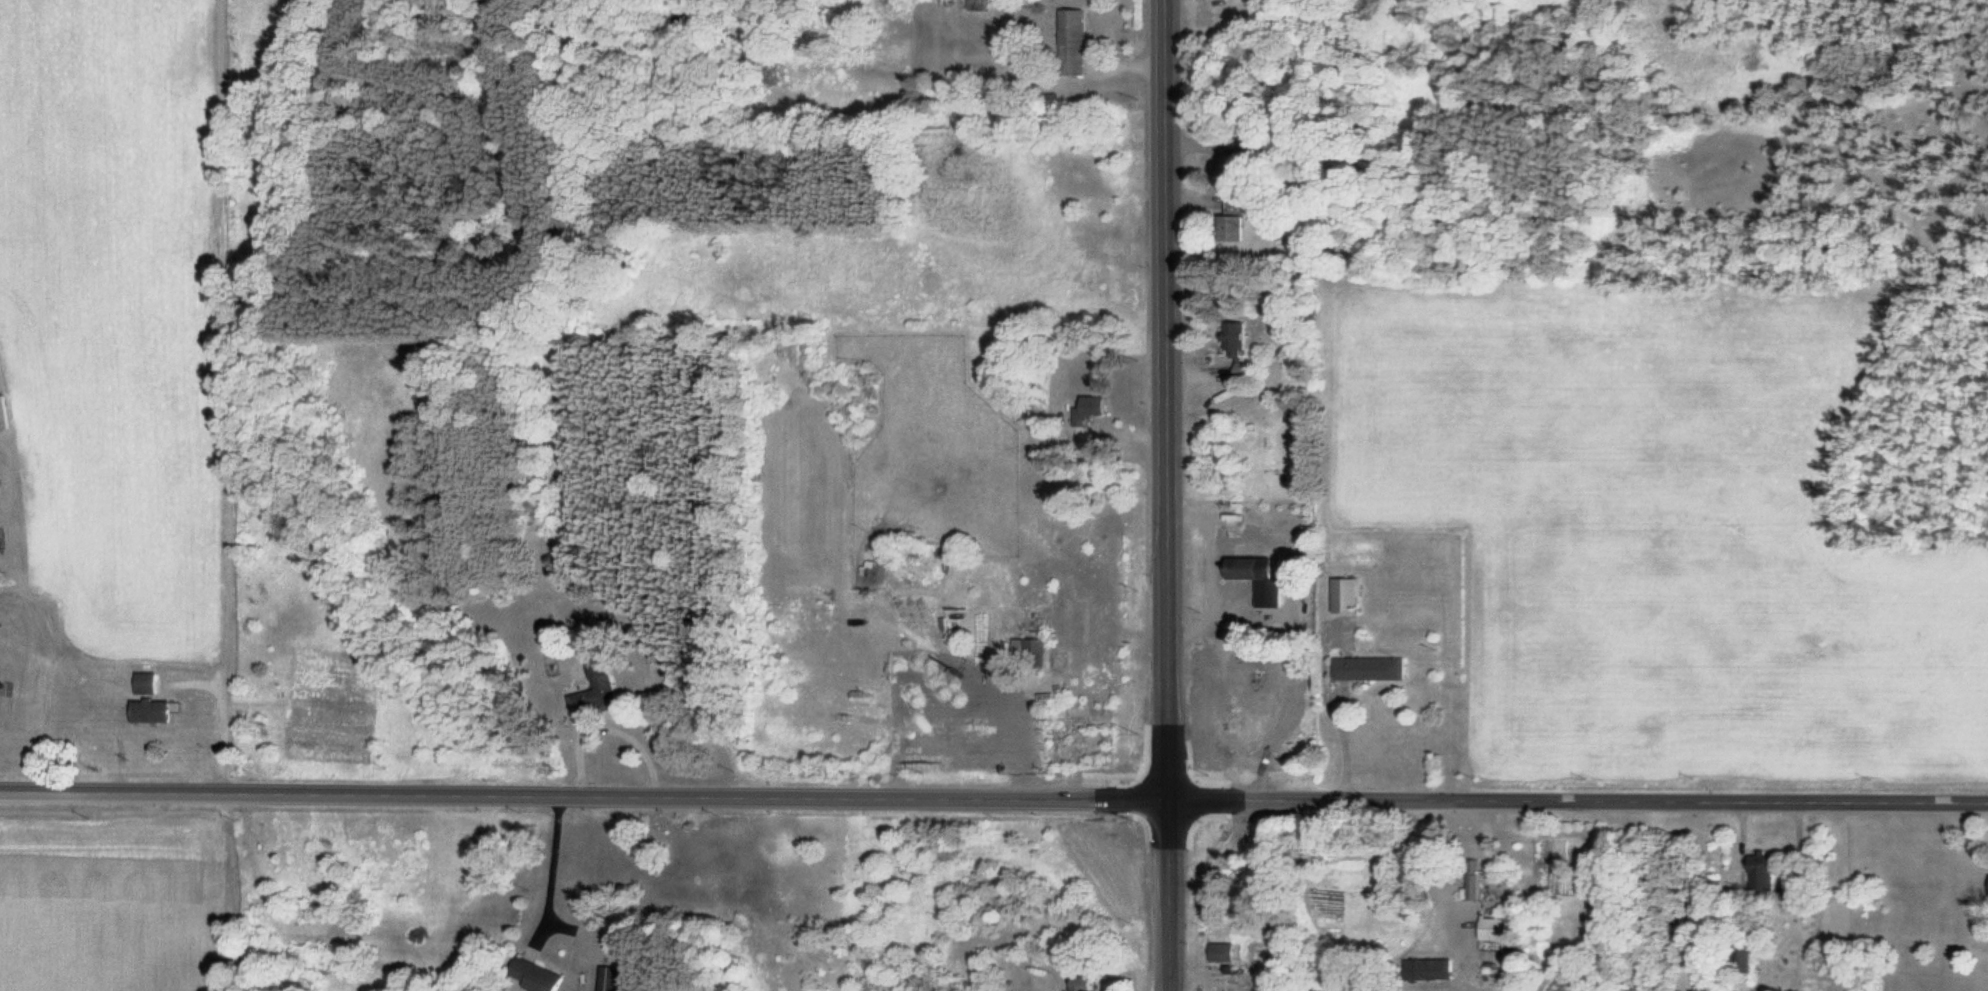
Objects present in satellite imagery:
building: (977, 5)
building: (1069, 43)
building: (1229, 228)
building: (1231, 345)
building: (1090, 405)
road: (1166, 495)
building: (1254, 578)
building: (1341, 596)
building: (1031, 652)
building: (1365, 669)
building: (144, 683)
building: (582, 698)
building: (147, 711)
road: (583, 794)
road: (1577, 801)
building: (1758, 874)
building: (1472, 879)
building: (1987, 886)
building: (1490, 929)
building: (1218, 952)
building: (1741, 958)
building: (1426, 970)
building: (533, 976)
building: (1310, 990)

